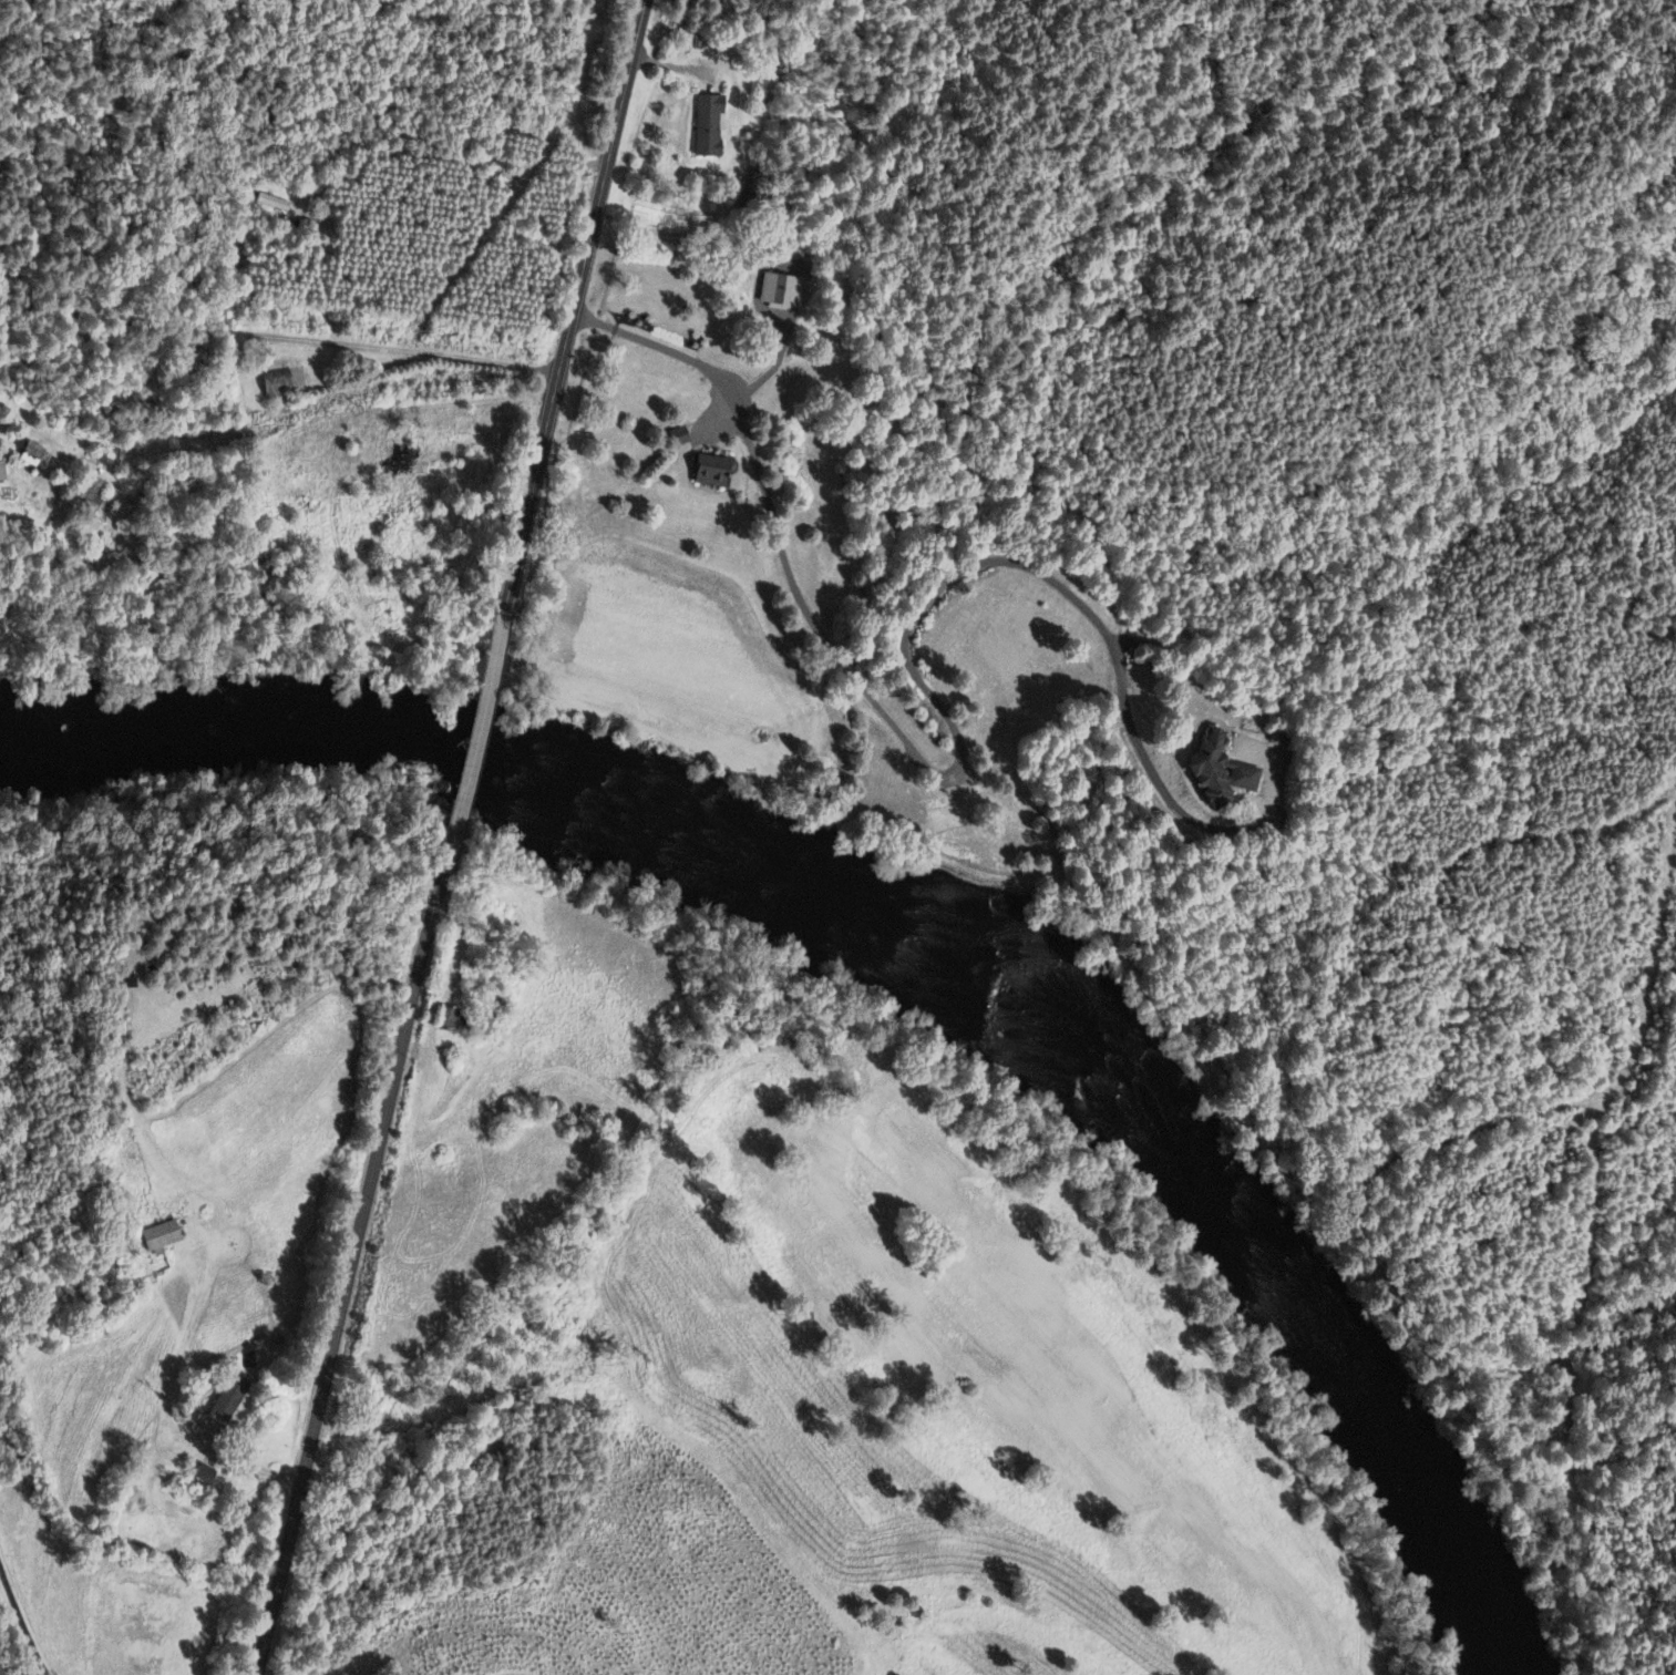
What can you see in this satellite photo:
building: (713, 124)
building: (780, 286)
road: (577, 304)
road: (280, 335)
building: (282, 383)
building: (716, 471)
building: (3, 472)
road: (955, 733)
road: (477, 742)
building: (1244, 768)
river: (925, 932)
road: (1584, 1212)
building: (165, 1235)
road: (352, 1275)
building: (236, 1400)
road: (22, 1622)

